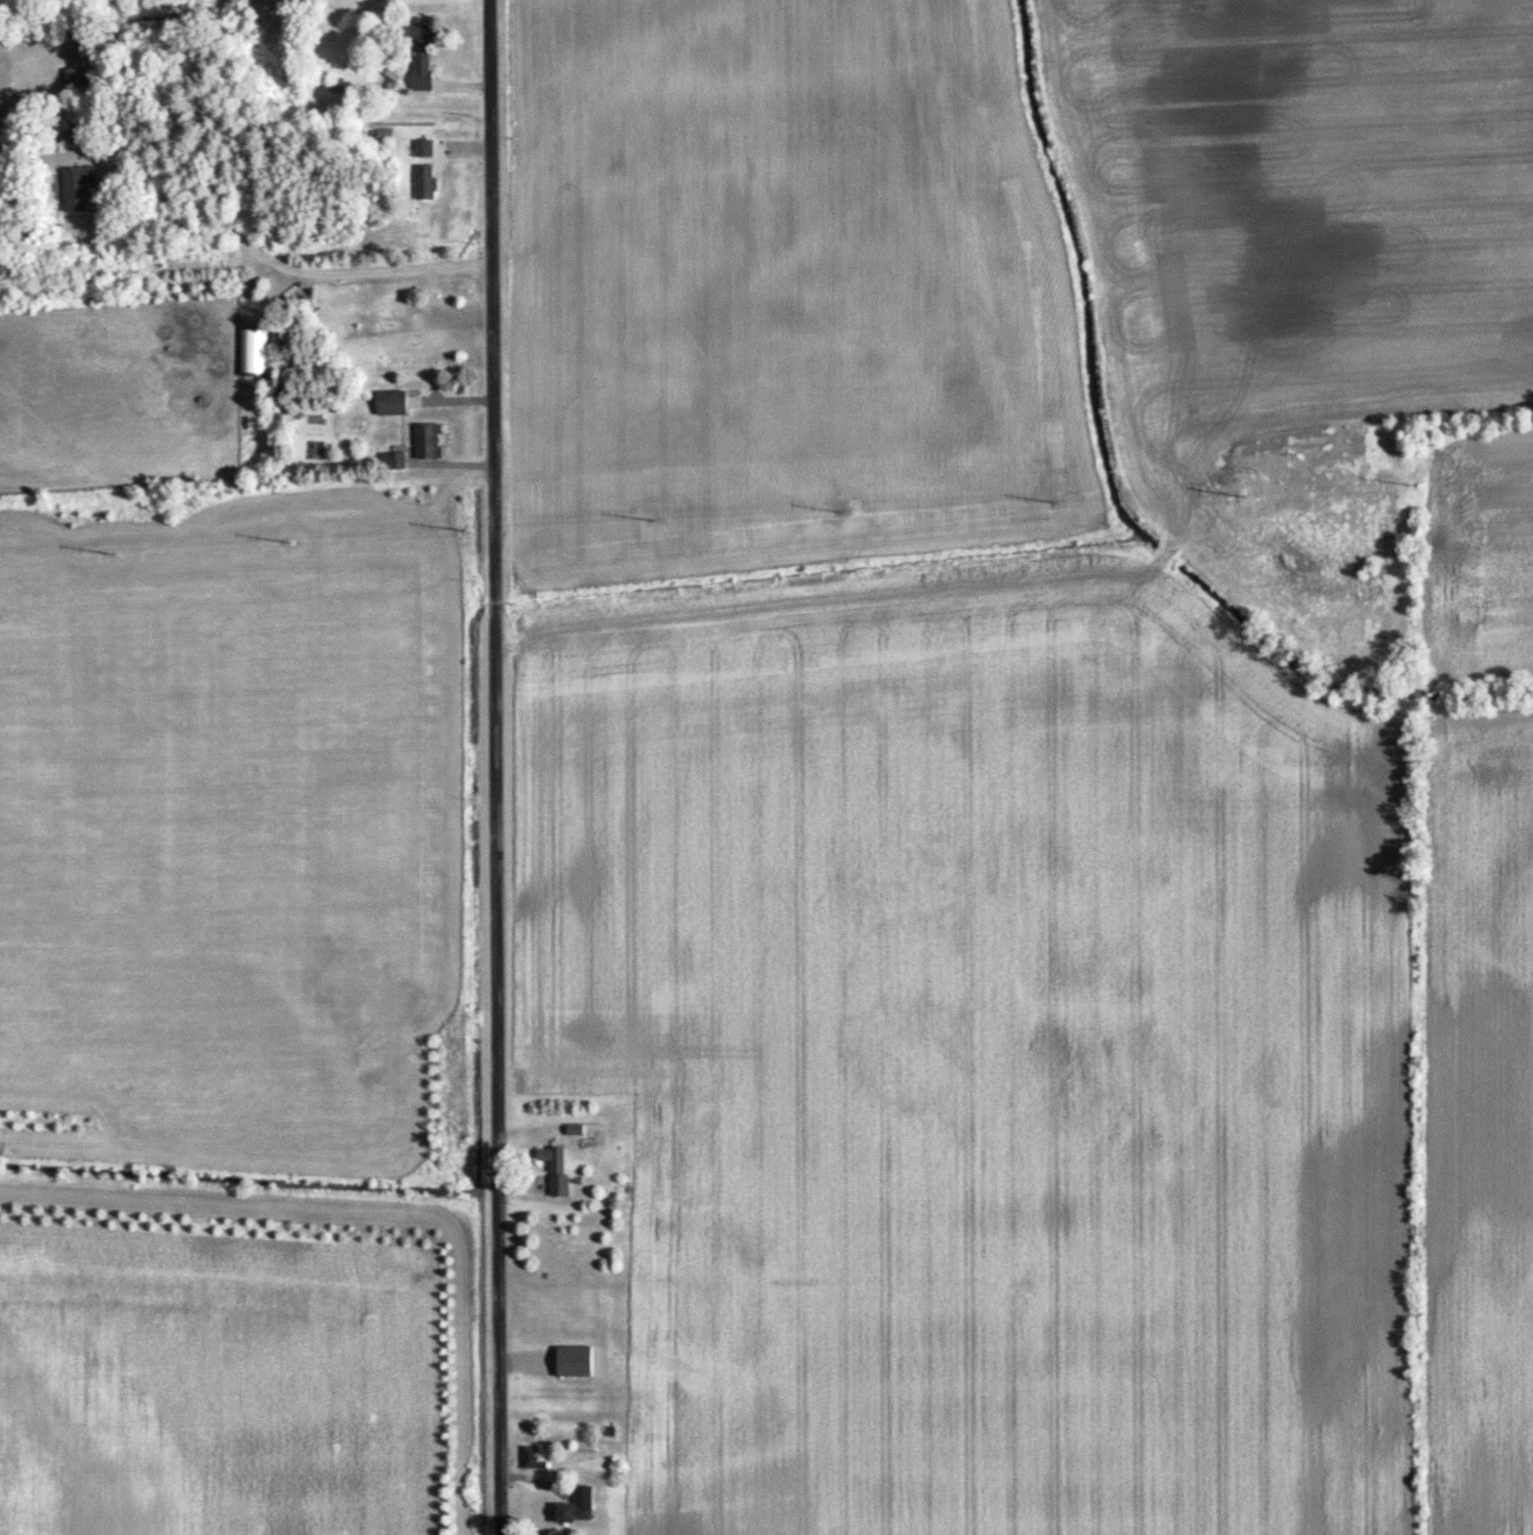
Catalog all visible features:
building: (0, 59)
building: (428, 72)
building: (3, 93)
building: (429, 168)
building: (85, 186)
road: (215, 219)
road: (453, 385)
building: (396, 403)
building: (434, 441)
road: (497, 767)
building: (579, 1128)
building: (580, 1361)
building: (580, 1512)

